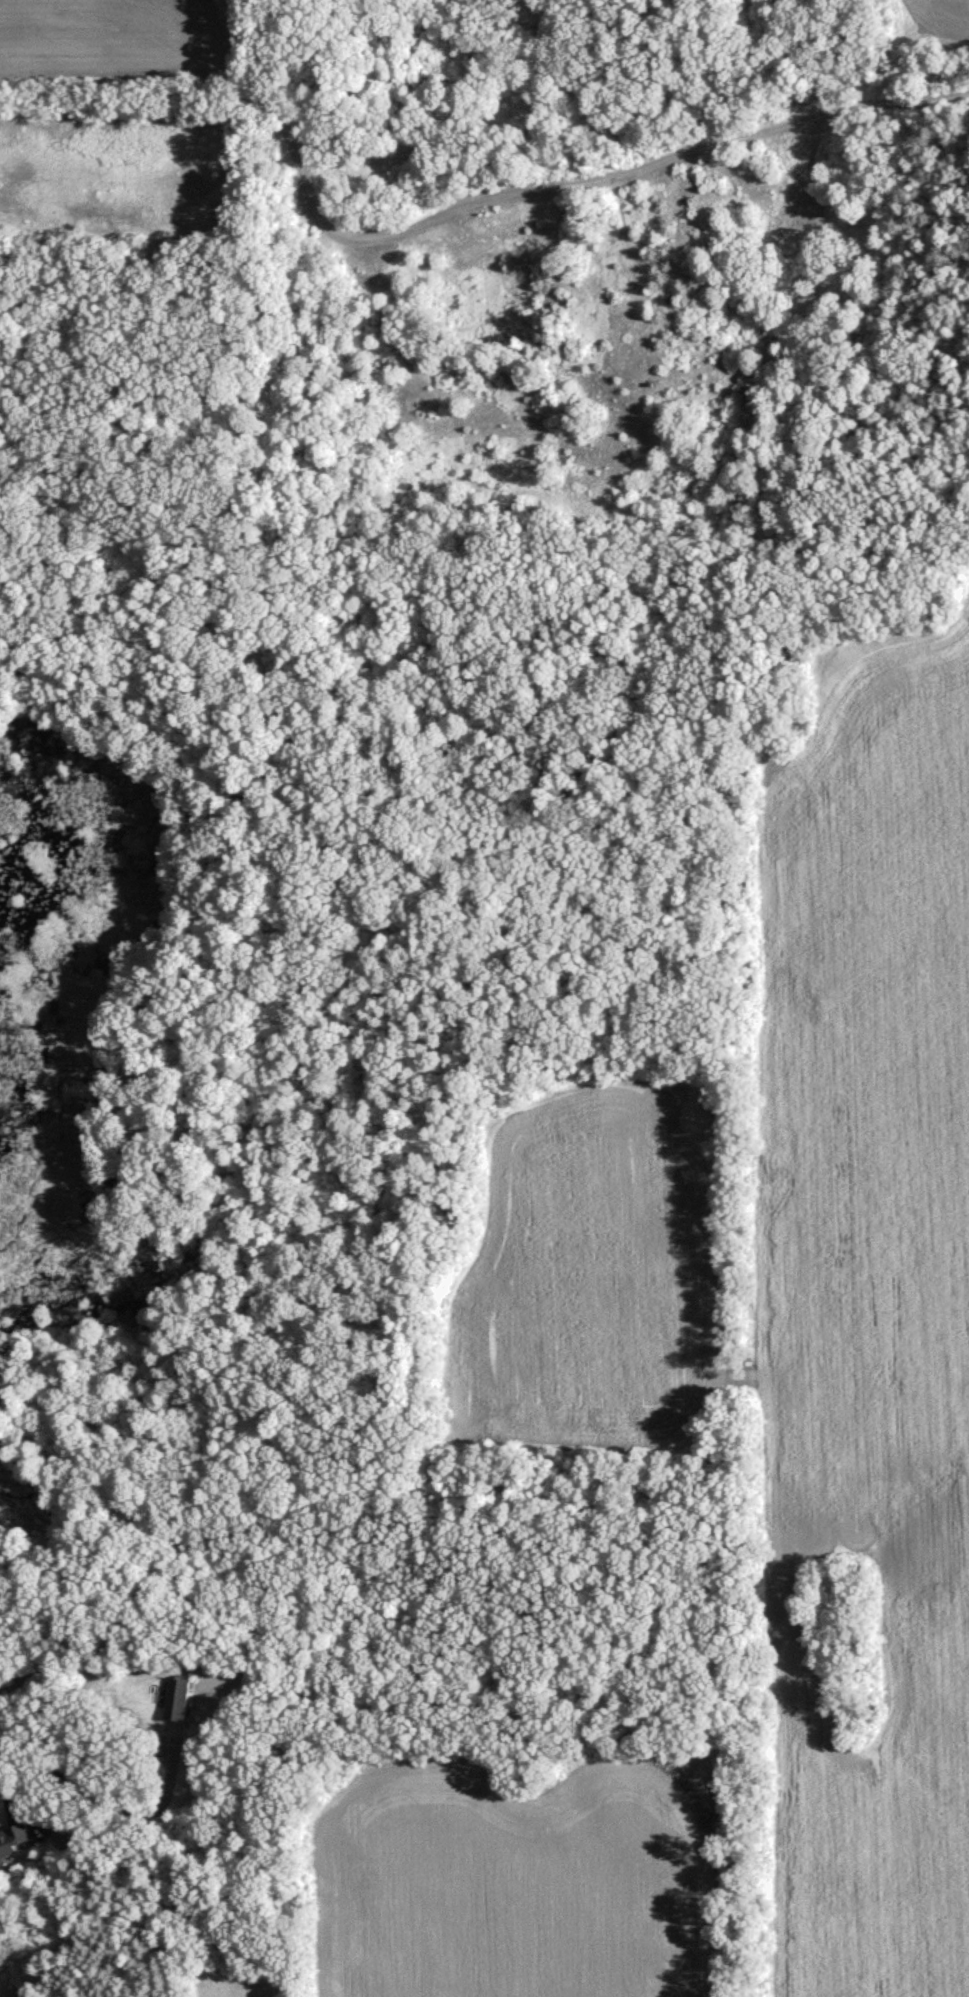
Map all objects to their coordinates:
building: (179, 1698)
road: (101, 1792)
road: (18, 1813)
building: (12, 1838)

